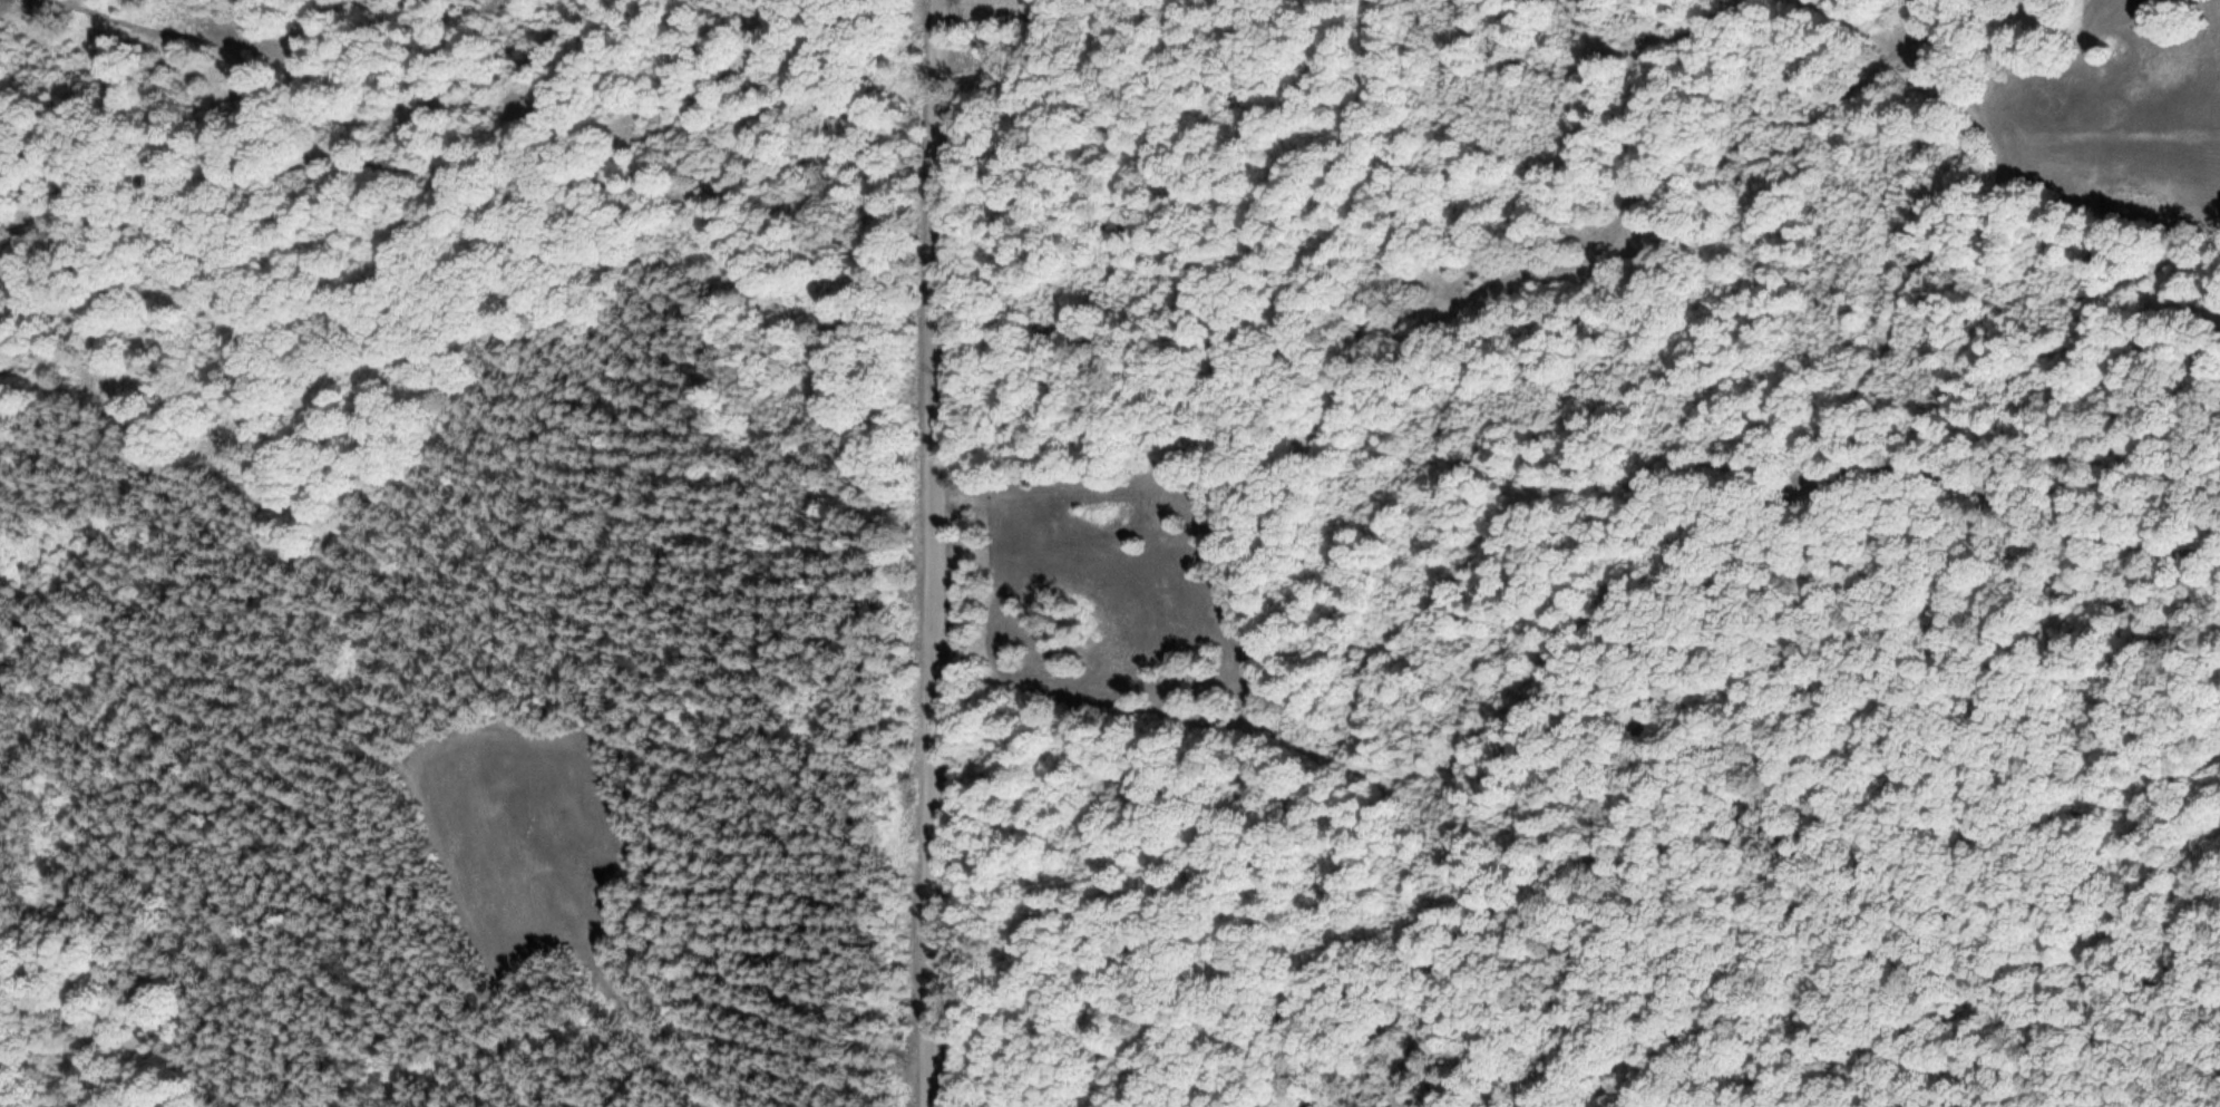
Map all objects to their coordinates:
road: (1030, 320)
road: (933, 553)
road: (1696, 634)
road: (610, 1026)

